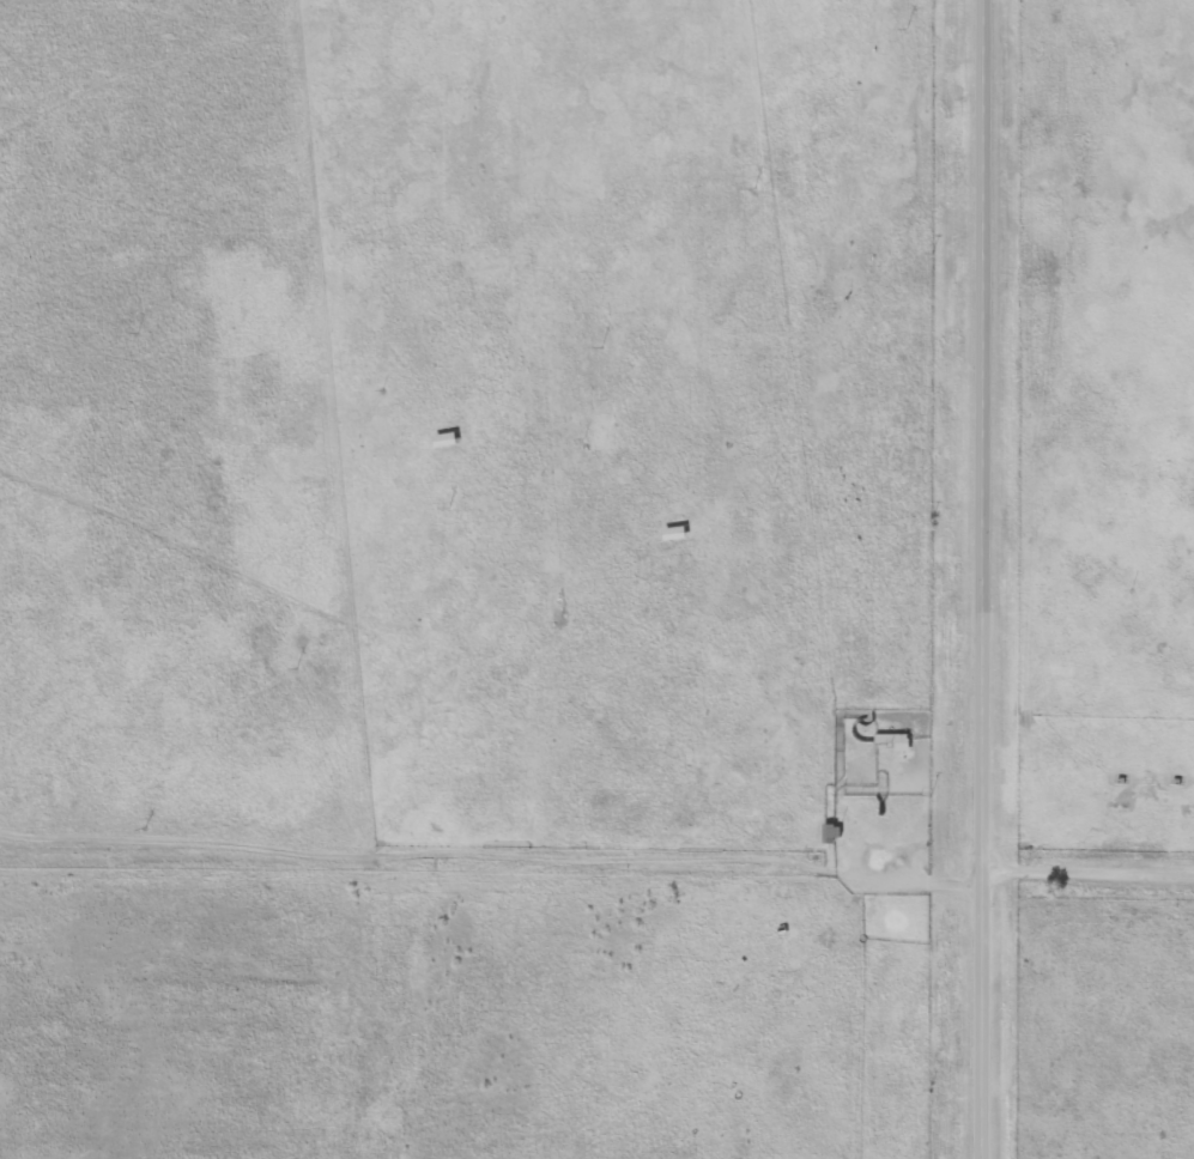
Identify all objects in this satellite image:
building: (442, 439)
building: (671, 533)
road: (980, 579)
building: (892, 740)
road: (487, 888)

